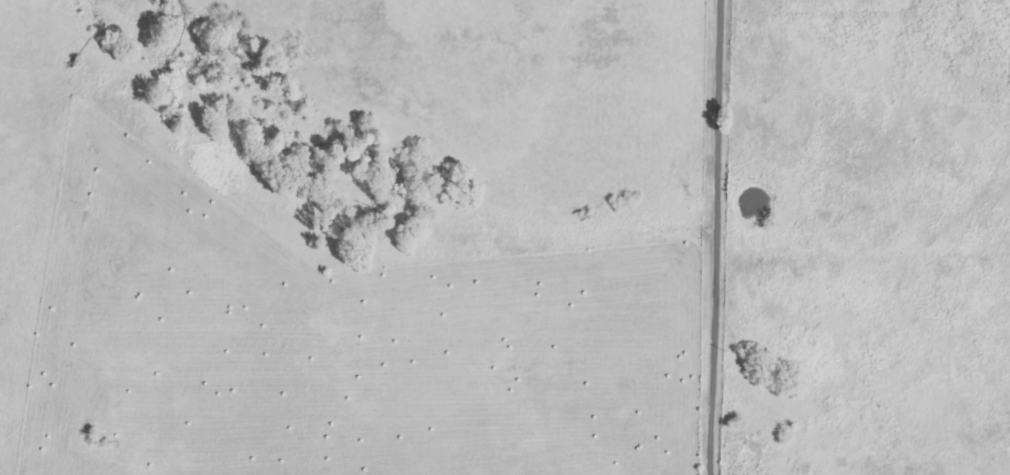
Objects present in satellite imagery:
road: (715, 237)

